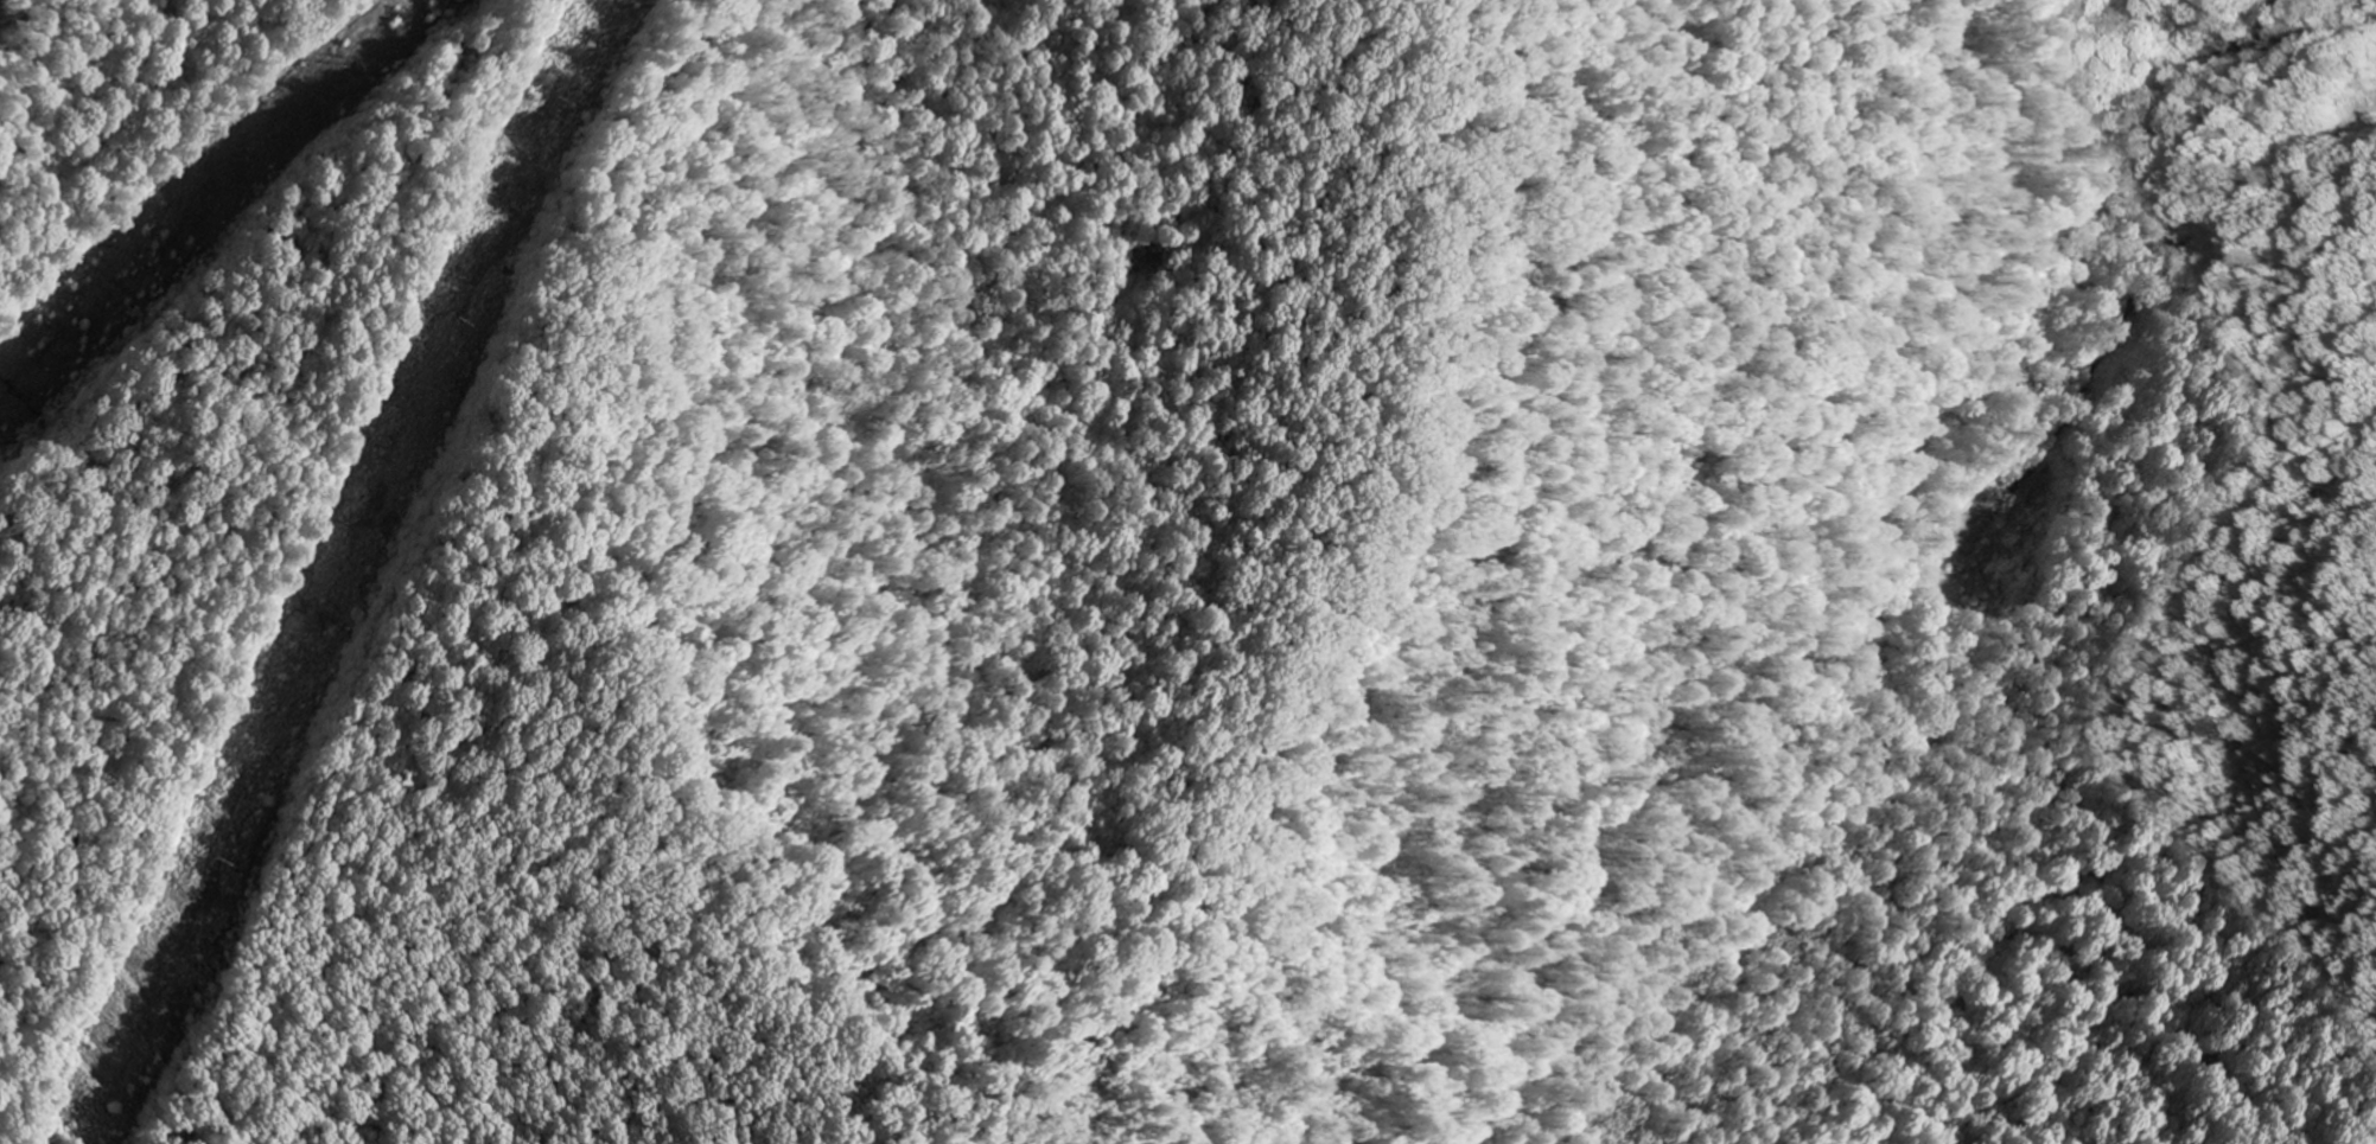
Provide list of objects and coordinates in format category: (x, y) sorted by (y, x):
power tower: (345, 56)
power tower: (433, 330)
power tower: (193, 861)

